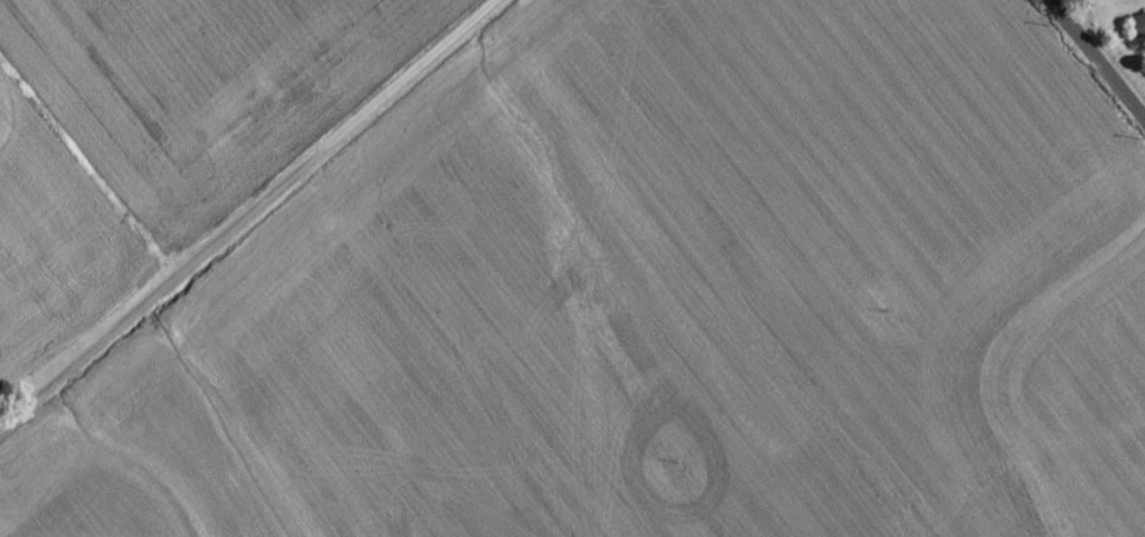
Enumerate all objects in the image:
building: (1137, 31)
road: (1093, 65)
road: (252, 216)

